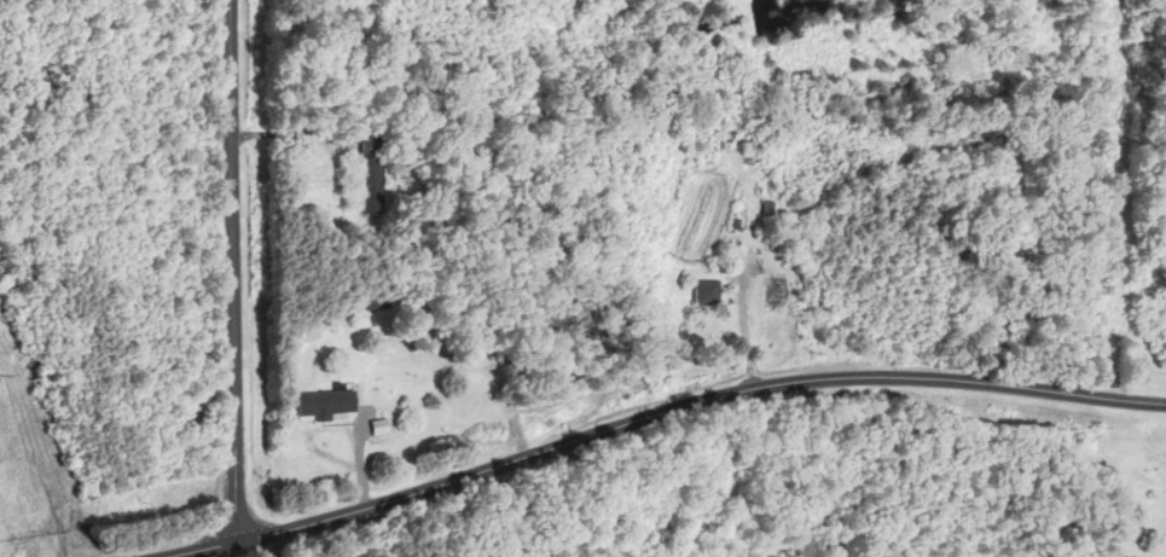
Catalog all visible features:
building: (714, 53)
building: (726, 128)
road: (292, 132)
building: (375, 145)
building: (373, 184)
road: (232, 269)
building: (706, 291)
building: (776, 291)
building: (375, 306)
building: (981, 318)
building: (327, 405)
road: (656, 411)
road: (272, 545)

